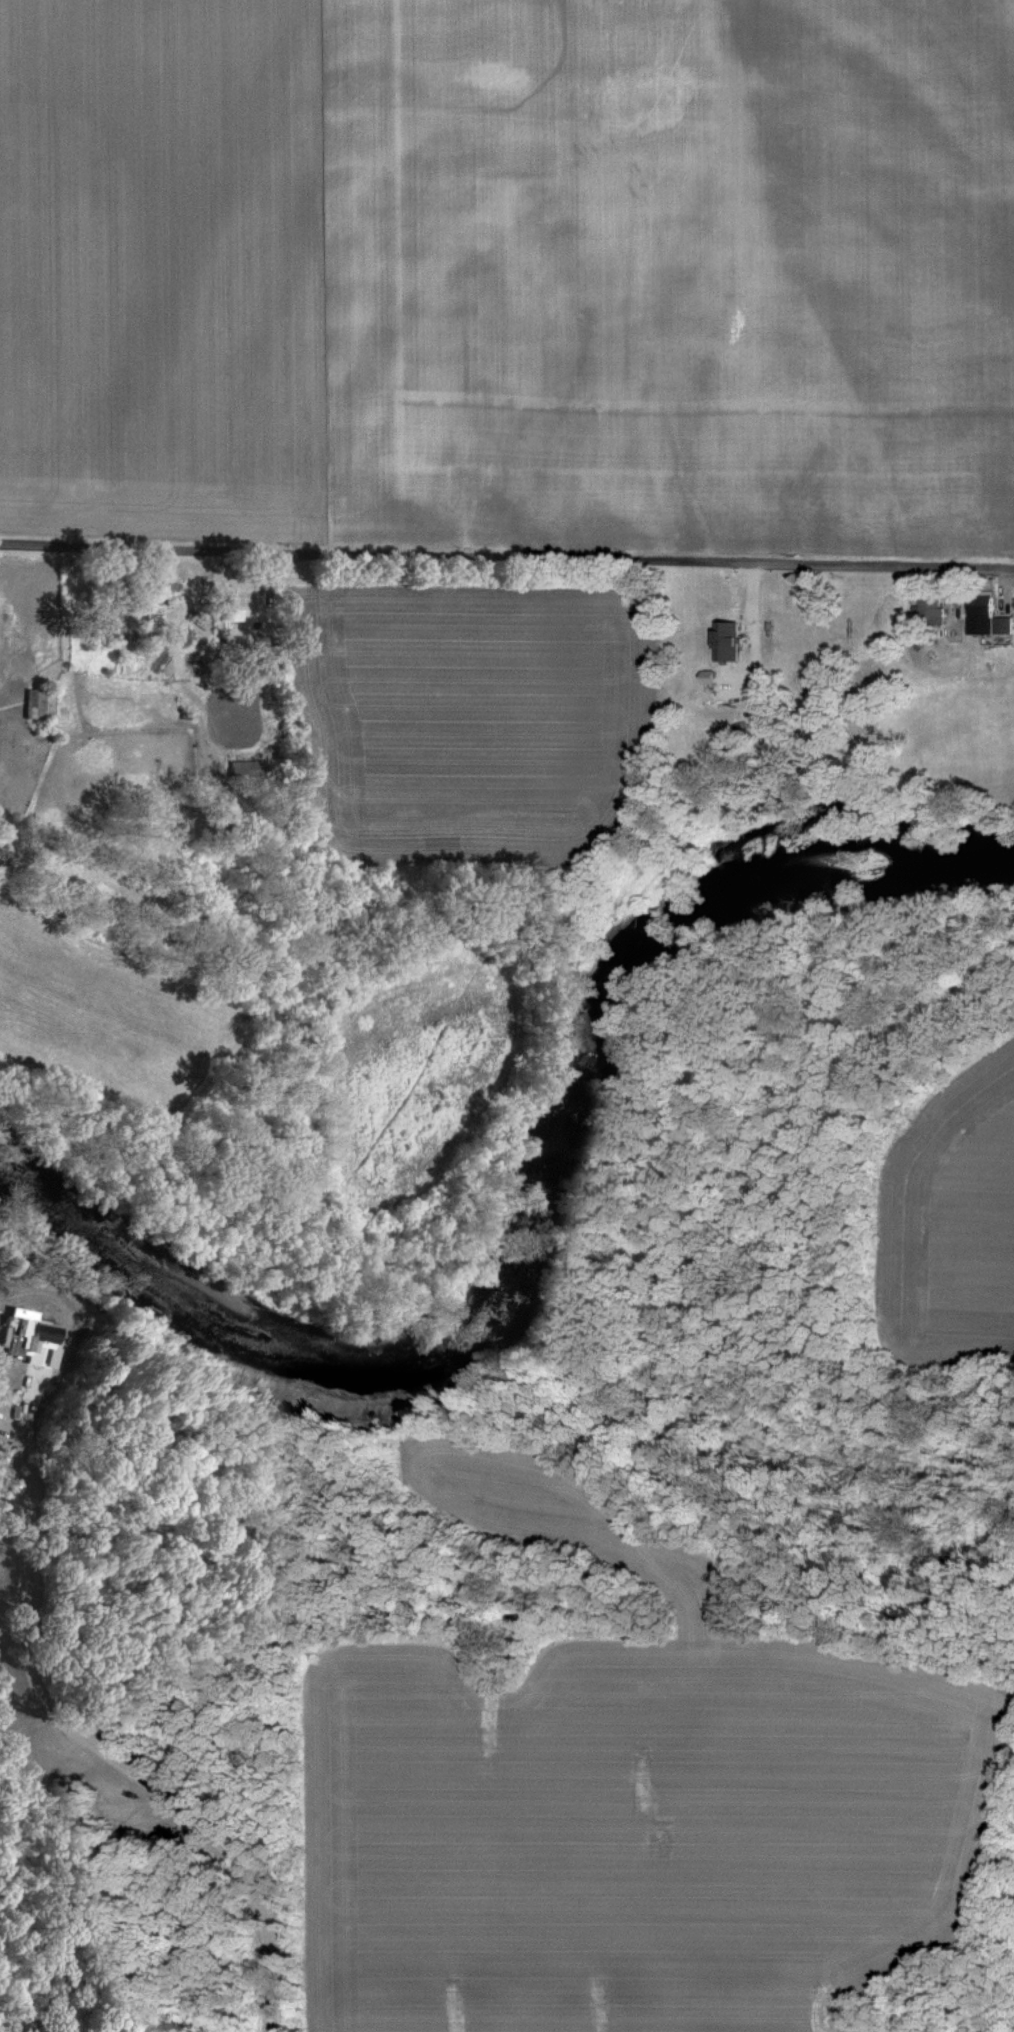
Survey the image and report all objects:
road: (506, 557)
building: (228, 609)
building: (928, 612)
building: (985, 618)
road: (758, 627)
building: (725, 643)
building: (706, 677)
building: (31, 704)
building: (240, 769)
river: (525, 1213)

